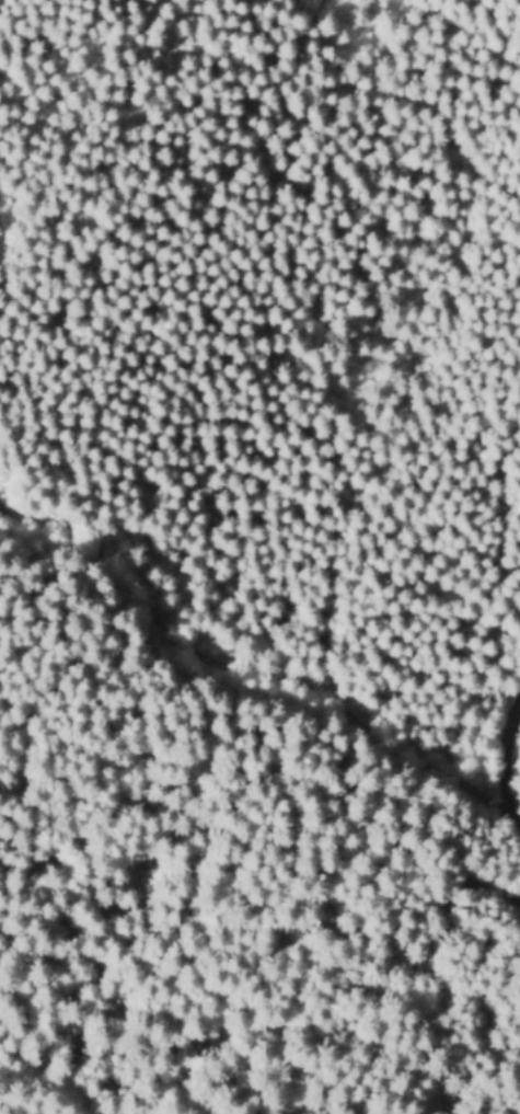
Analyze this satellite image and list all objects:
road: (509, 727)

